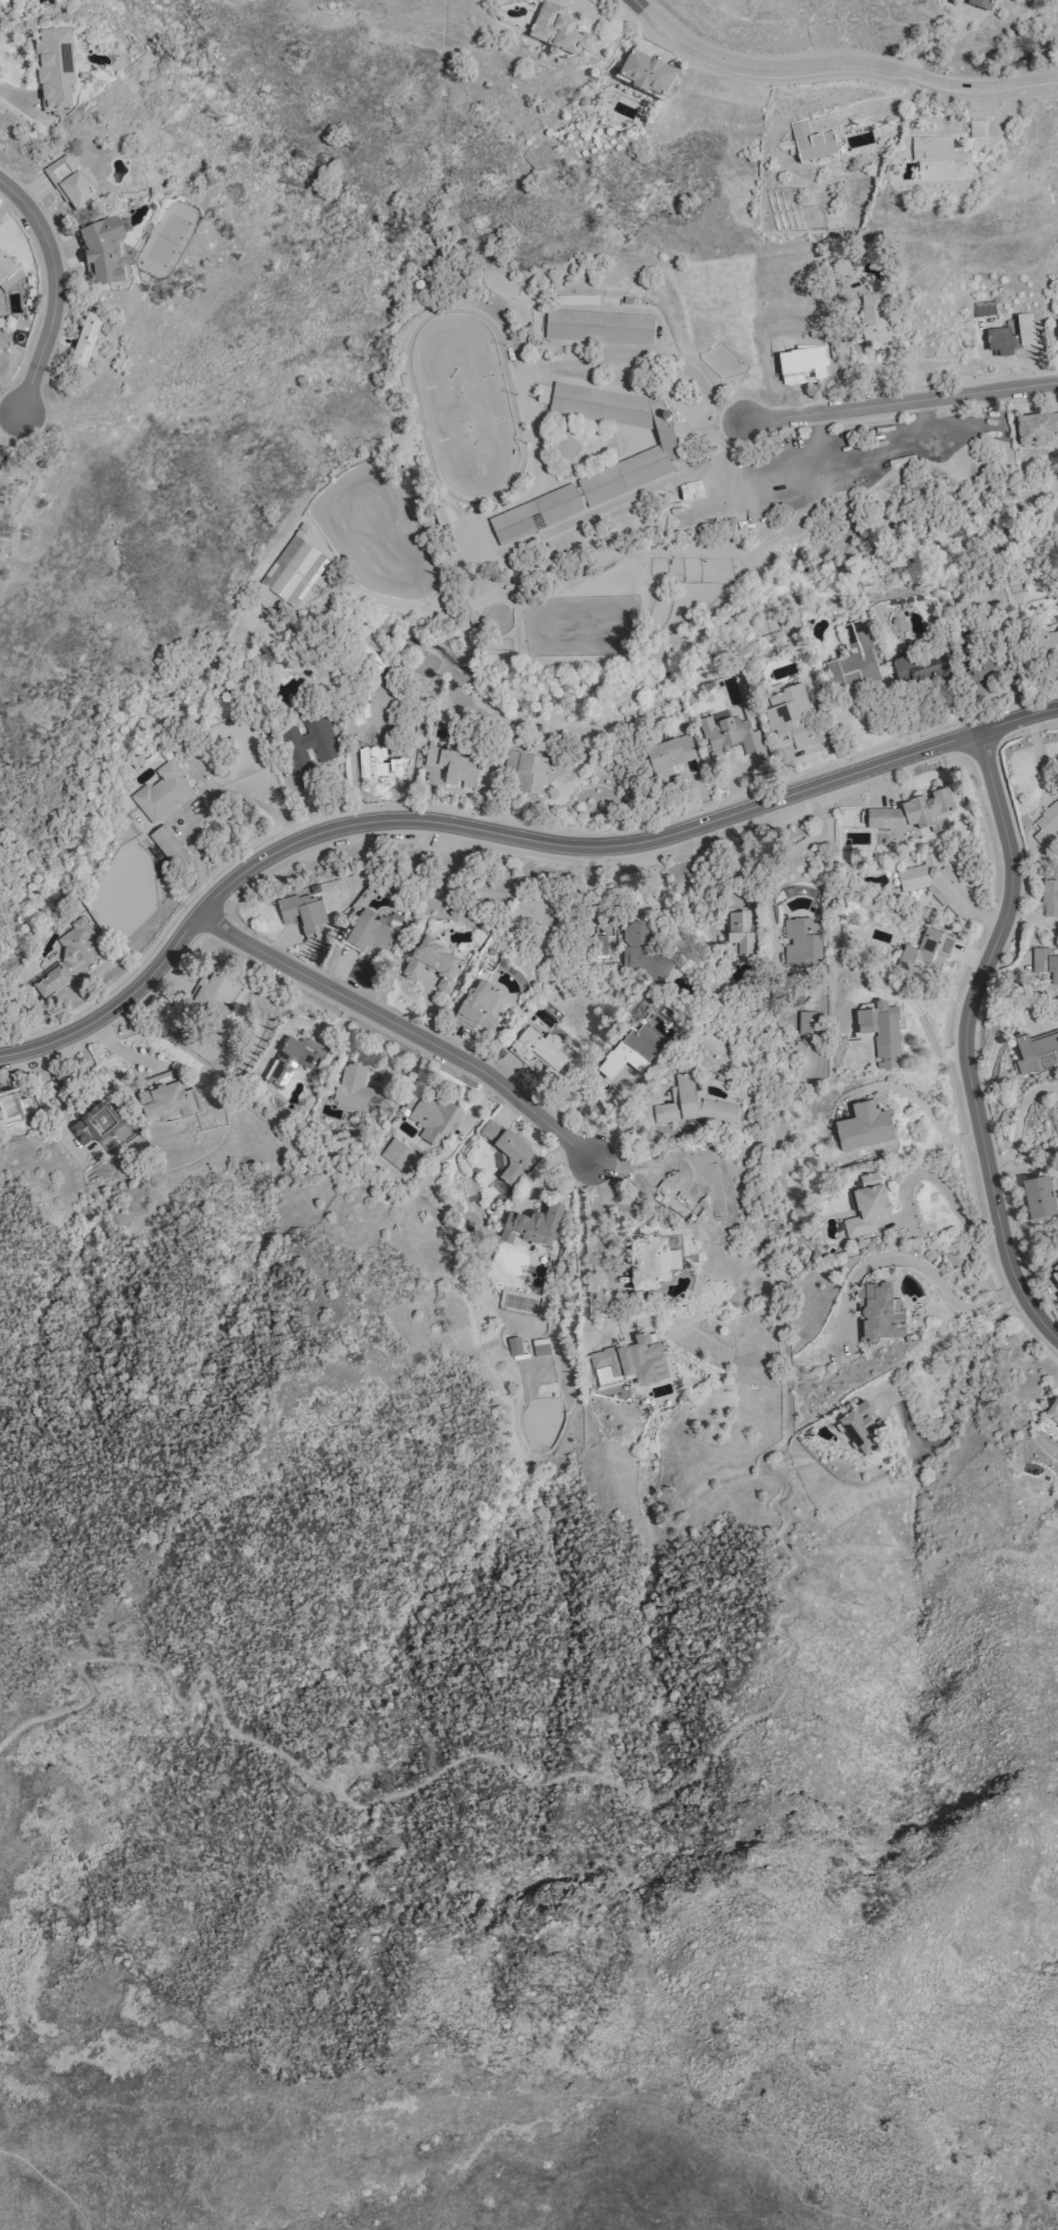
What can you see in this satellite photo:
building: (4, 1)
building: (982, 4)
building: (559, 32)
road: (837, 64)
building: (54, 68)
building: (647, 74)
road: (20, 99)
building: (977, 129)
building: (812, 142)
building: (939, 158)
building: (69, 183)
building: (101, 252)
building: (5, 266)
road: (58, 289)
building: (873, 318)
building: (1057, 324)
building: (598, 326)
building: (1011, 336)
building: (85, 341)
road: (686, 368)
road: (837, 376)
road: (901, 402)
building: (1035, 429)
building: (665, 437)
building: (2, 460)
building: (0, 478)
building: (691, 488)
road: (636, 491)
building: (293, 569)
building: (1044, 639)
building: (853, 658)
building: (917, 668)
building: (986, 670)
building: (791, 717)
building: (730, 734)
building: (308, 747)
building: (668, 756)
building: (451, 765)
building: (525, 770)
building: (162, 791)
building: (914, 813)
road: (498, 832)
building: (169, 845)
road: (781, 862)
building: (936, 882)
building: (1050, 898)
building: (302, 913)
building: (740, 929)
building: (369, 934)
building: (802, 940)
building: (927, 948)
building: (643, 952)
building: (72, 956)
building: (431, 963)
building: (1046, 963)
building: (211, 996)
building: (479, 1009)
road: (916, 1010)
road: (302, 1022)
building: (807, 1022)
road: (403, 1027)
building: (881, 1033)
road: (966, 1039)
road: (998, 1040)
building: (537, 1048)
building: (630, 1051)
building: (1036, 1051)
building: (294, 1059)
building: (546, 1073)
building: (355, 1088)
building: (166, 1096)
road: (915, 1097)
building: (691, 1104)
building: (431, 1118)
road: (1021, 1122)
building: (96, 1123)
building: (864, 1126)
building: (398, 1155)
building: (507, 1155)
road: (941, 1183)
building: (1038, 1196)
building: (866, 1205)
building: (532, 1224)
road: (596, 1229)
road: (584, 1259)
building: (649, 1263)
road: (919, 1264)
building: (1055, 1276)
building: (878, 1313)
building: (514, 1345)
building: (540, 1346)
building: (630, 1362)
road: (962, 1401)
building: (1053, 1410)
building: (861, 1428)
road: (785, 1695)
road: (50, 2182)

